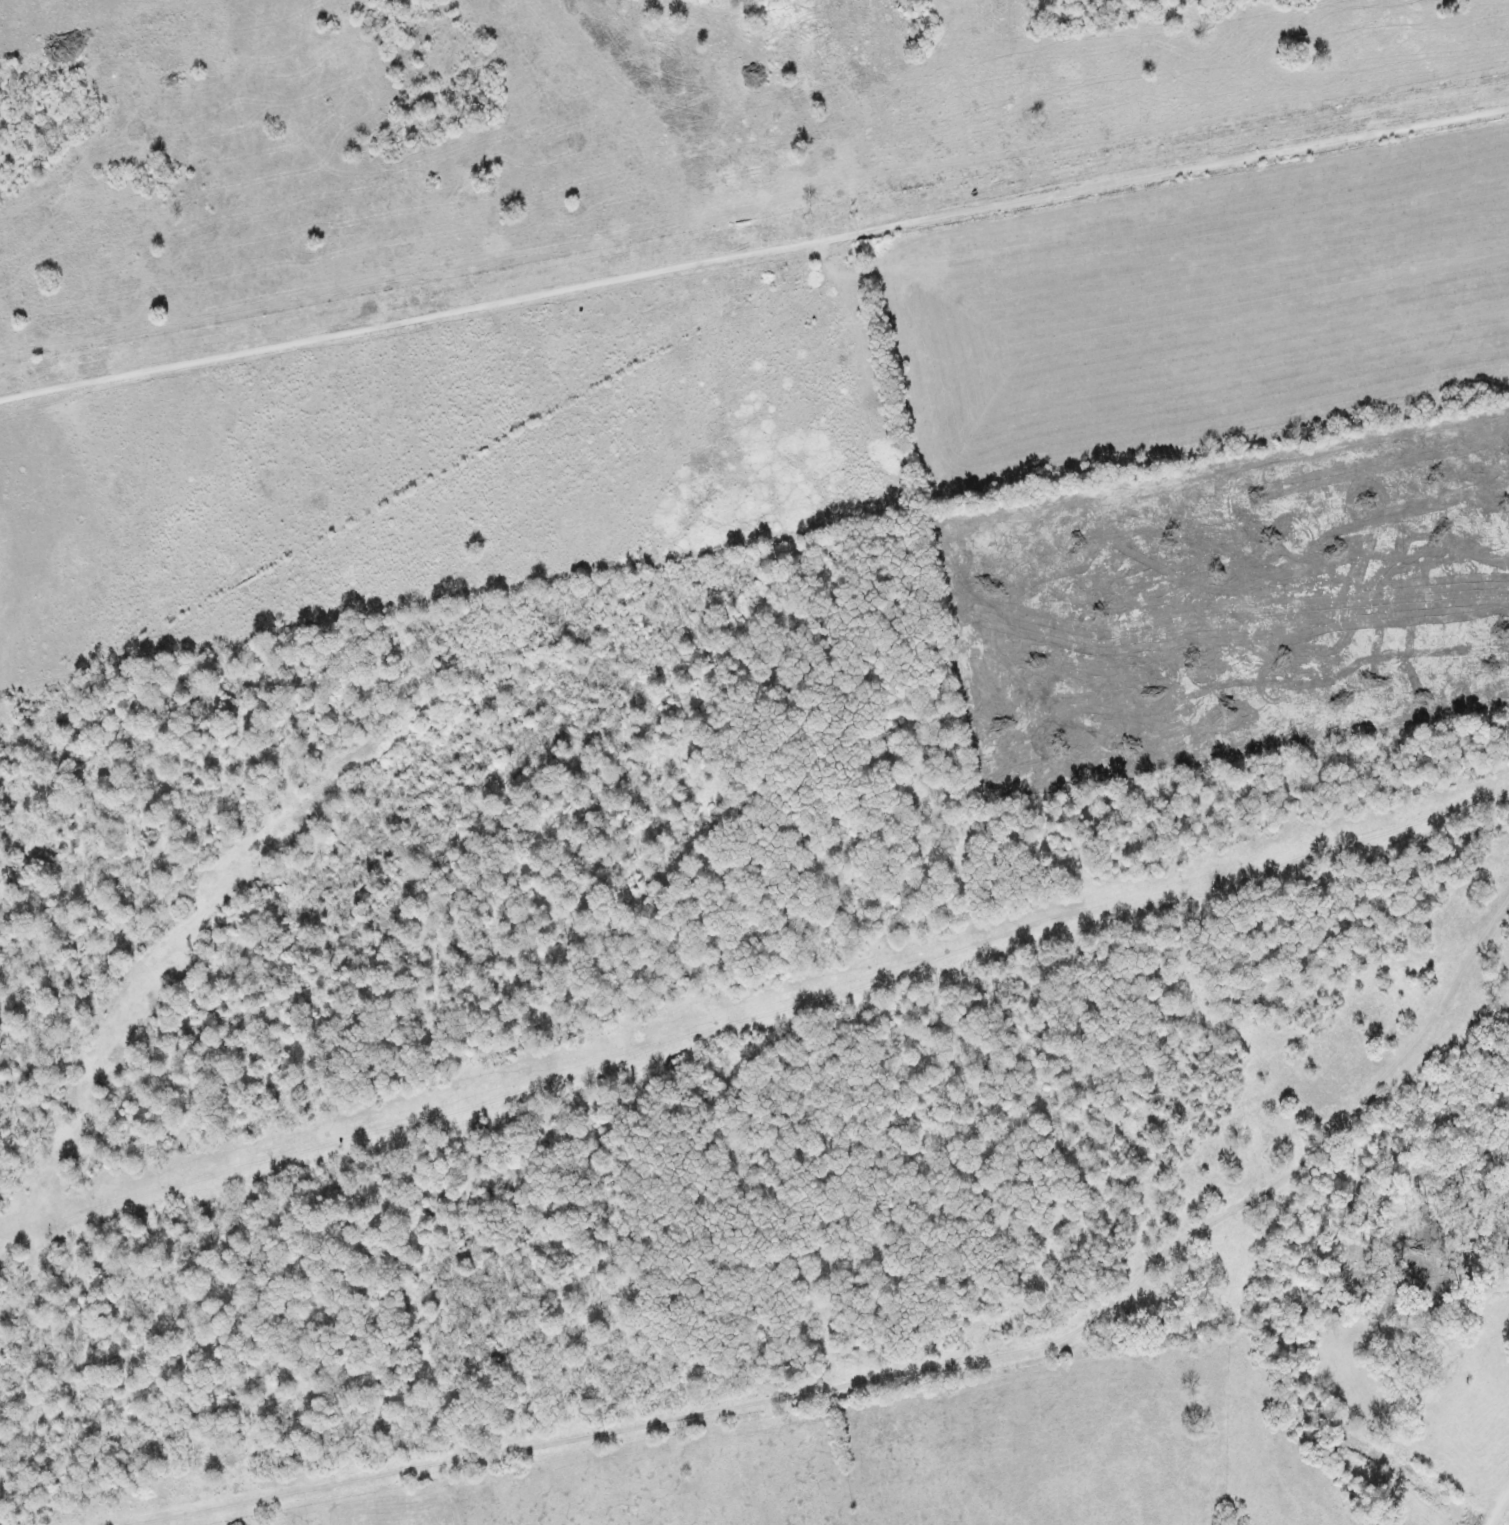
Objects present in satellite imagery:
road: (1503, 1513)

